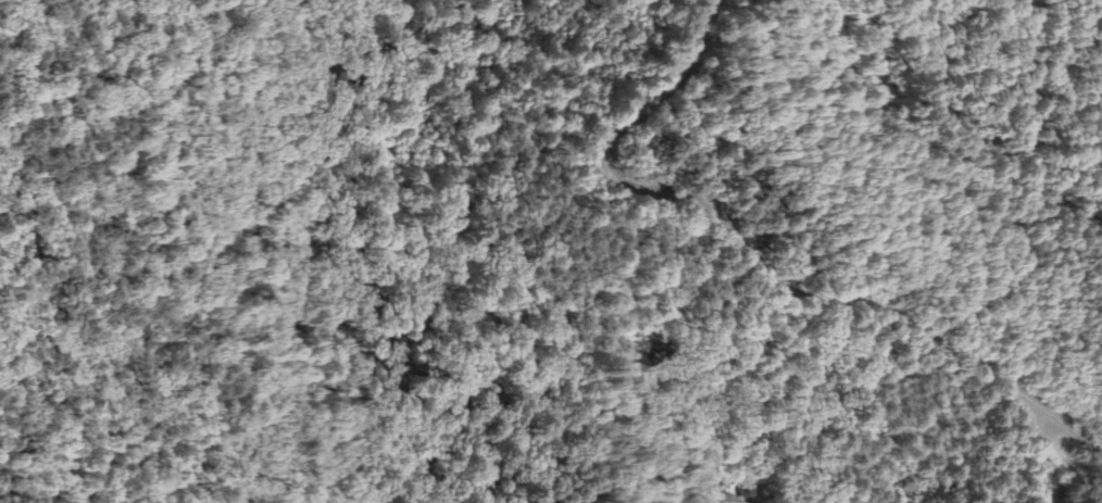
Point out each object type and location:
road: (759, 265)

